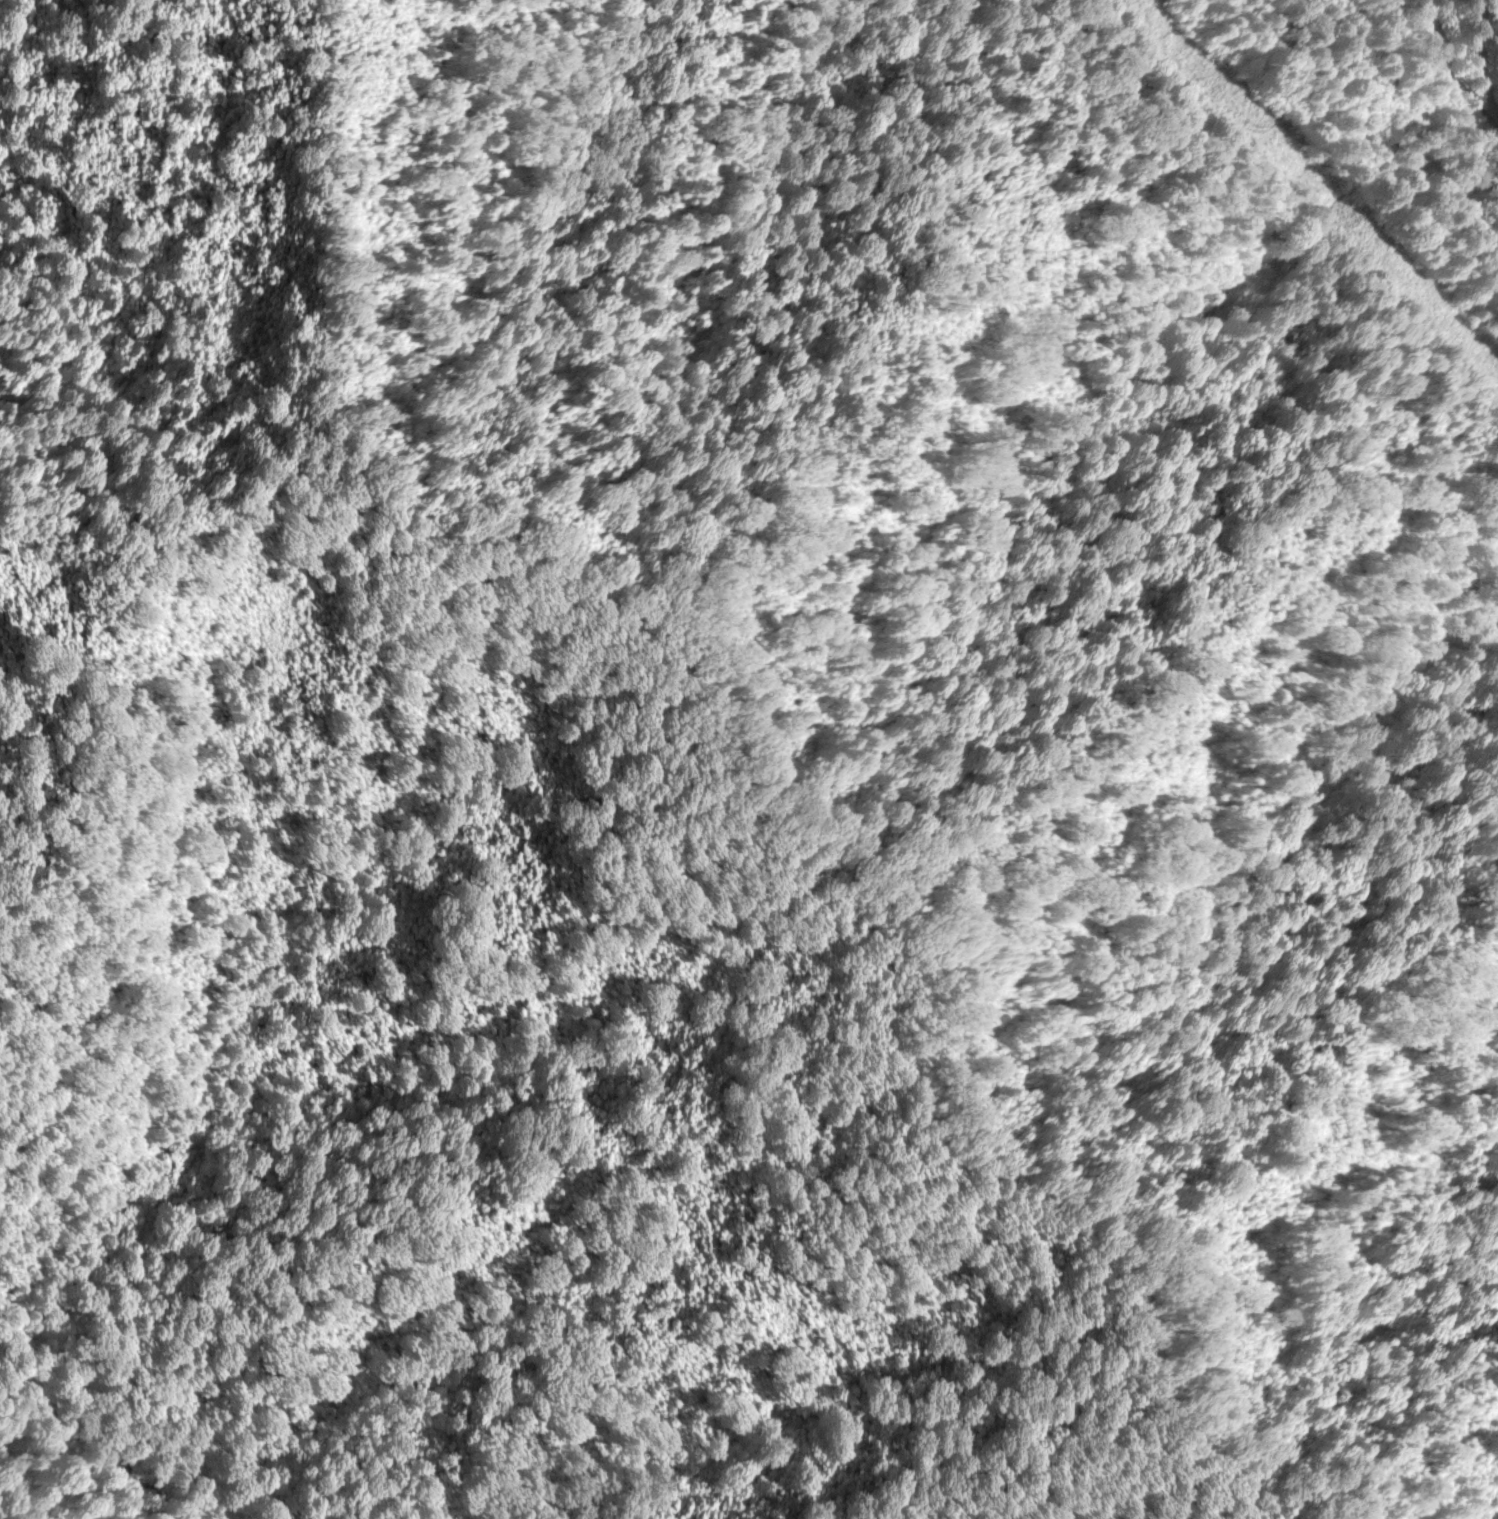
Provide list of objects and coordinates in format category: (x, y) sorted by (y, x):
building: (1485, 321)

